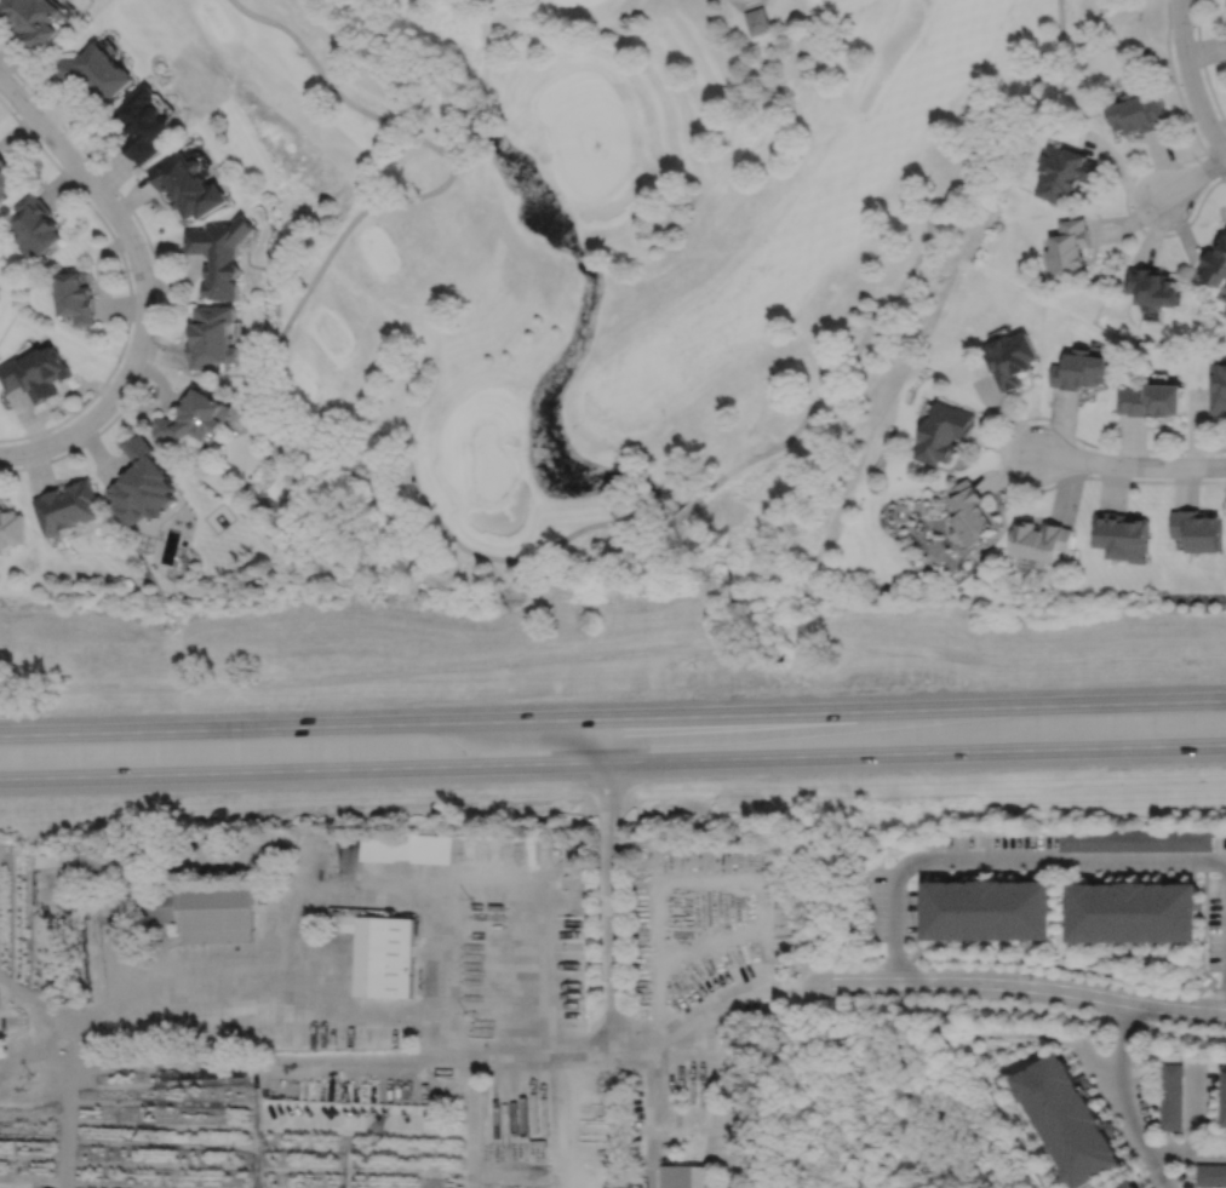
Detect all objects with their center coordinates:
building: (33, 19)
building: (757, 21)
street lamp: (1193, 30)
road: (1203, 65)
building: (94, 69)
road: (1171, 76)
road: (1190, 80)
building: (1134, 111)
building: (142, 124)
road: (482, 126)
street lamp: (1197, 160)
building: (1061, 173)
building: (7, 174)
road: (1195, 176)
building: (187, 185)
building: (35, 224)
building: (1065, 248)
building: (219, 254)
road: (582, 257)
building: (1214, 263)
park: (612, 269)
road: (909, 271)
road: (157, 281)
road: (142, 282)
road: (127, 283)
building: (1151, 287)
building: (74, 297)
building: (211, 337)
road: (279, 338)
building: (1012, 357)
building: (1079, 369)
building: (35, 373)
building: (1216, 388)
building: (1150, 400)
building: (195, 419)
building: (945, 432)
road: (1132, 465)
street lamp: (1090, 474)
building: (142, 486)
building: (67, 507)
road: (683, 510)
building: (973, 512)
building: (11, 527)
building: (1197, 530)
building: (1119, 536)
building: (1042, 541)
road: (613, 717)
road: (613, 761)
building: (1134, 839)
building: (385, 848)
road: (1224, 860)
road: (1073, 861)
building: (94, 867)
road: (1225, 894)
building: (166, 906)
building: (989, 911)
road: (894, 912)
building: (216, 913)
building: (1136, 913)
building: (342, 923)
road: (1224, 936)
building: (384, 955)
road: (1016, 985)
road: (299, 1061)
road: (1108, 1084)
building: (1170, 1096)
road: (1125, 1098)
building: (1225, 1100)
road: (1195, 1109)
building: (1066, 1120)
road: (1187, 1152)
building: (1210, 1173)
building: (686, 1176)
building: (1127, 1184)
building: (46, 1187)

